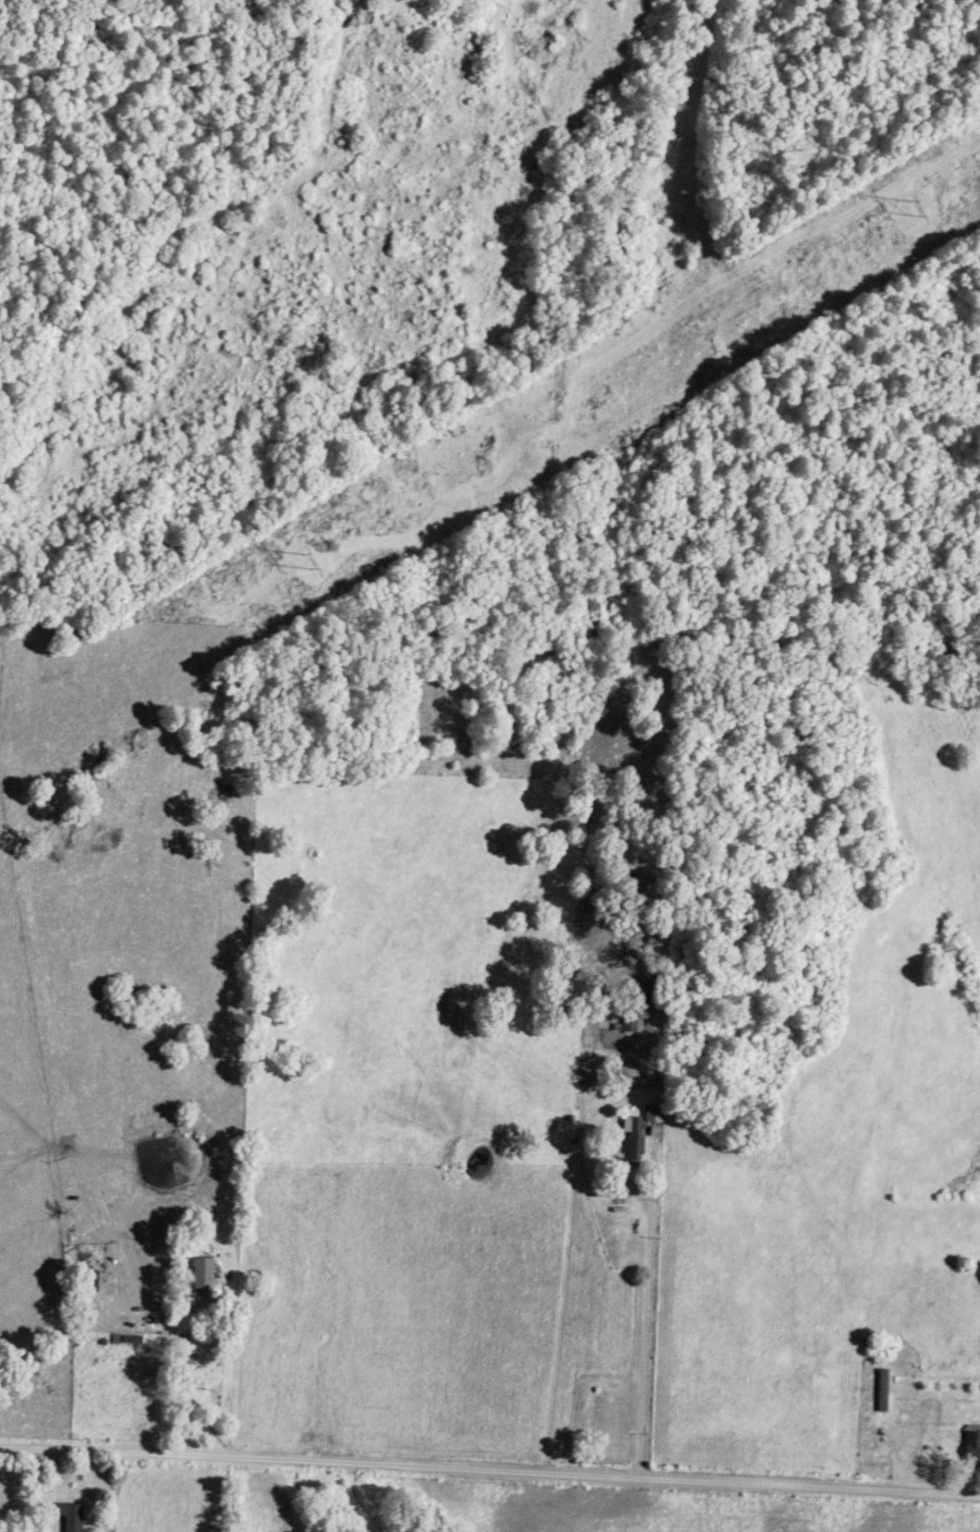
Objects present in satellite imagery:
power tower: (908, 213)
power tower: (303, 564)
building: (642, 1132)
building: (202, 1279)
road: (646, 1335)
building: (123, 1342)
road: (214, 1385)
building: (880, 1391)
building: (971, 1451)
road: (490, 1468)
building: (68, 1517)

